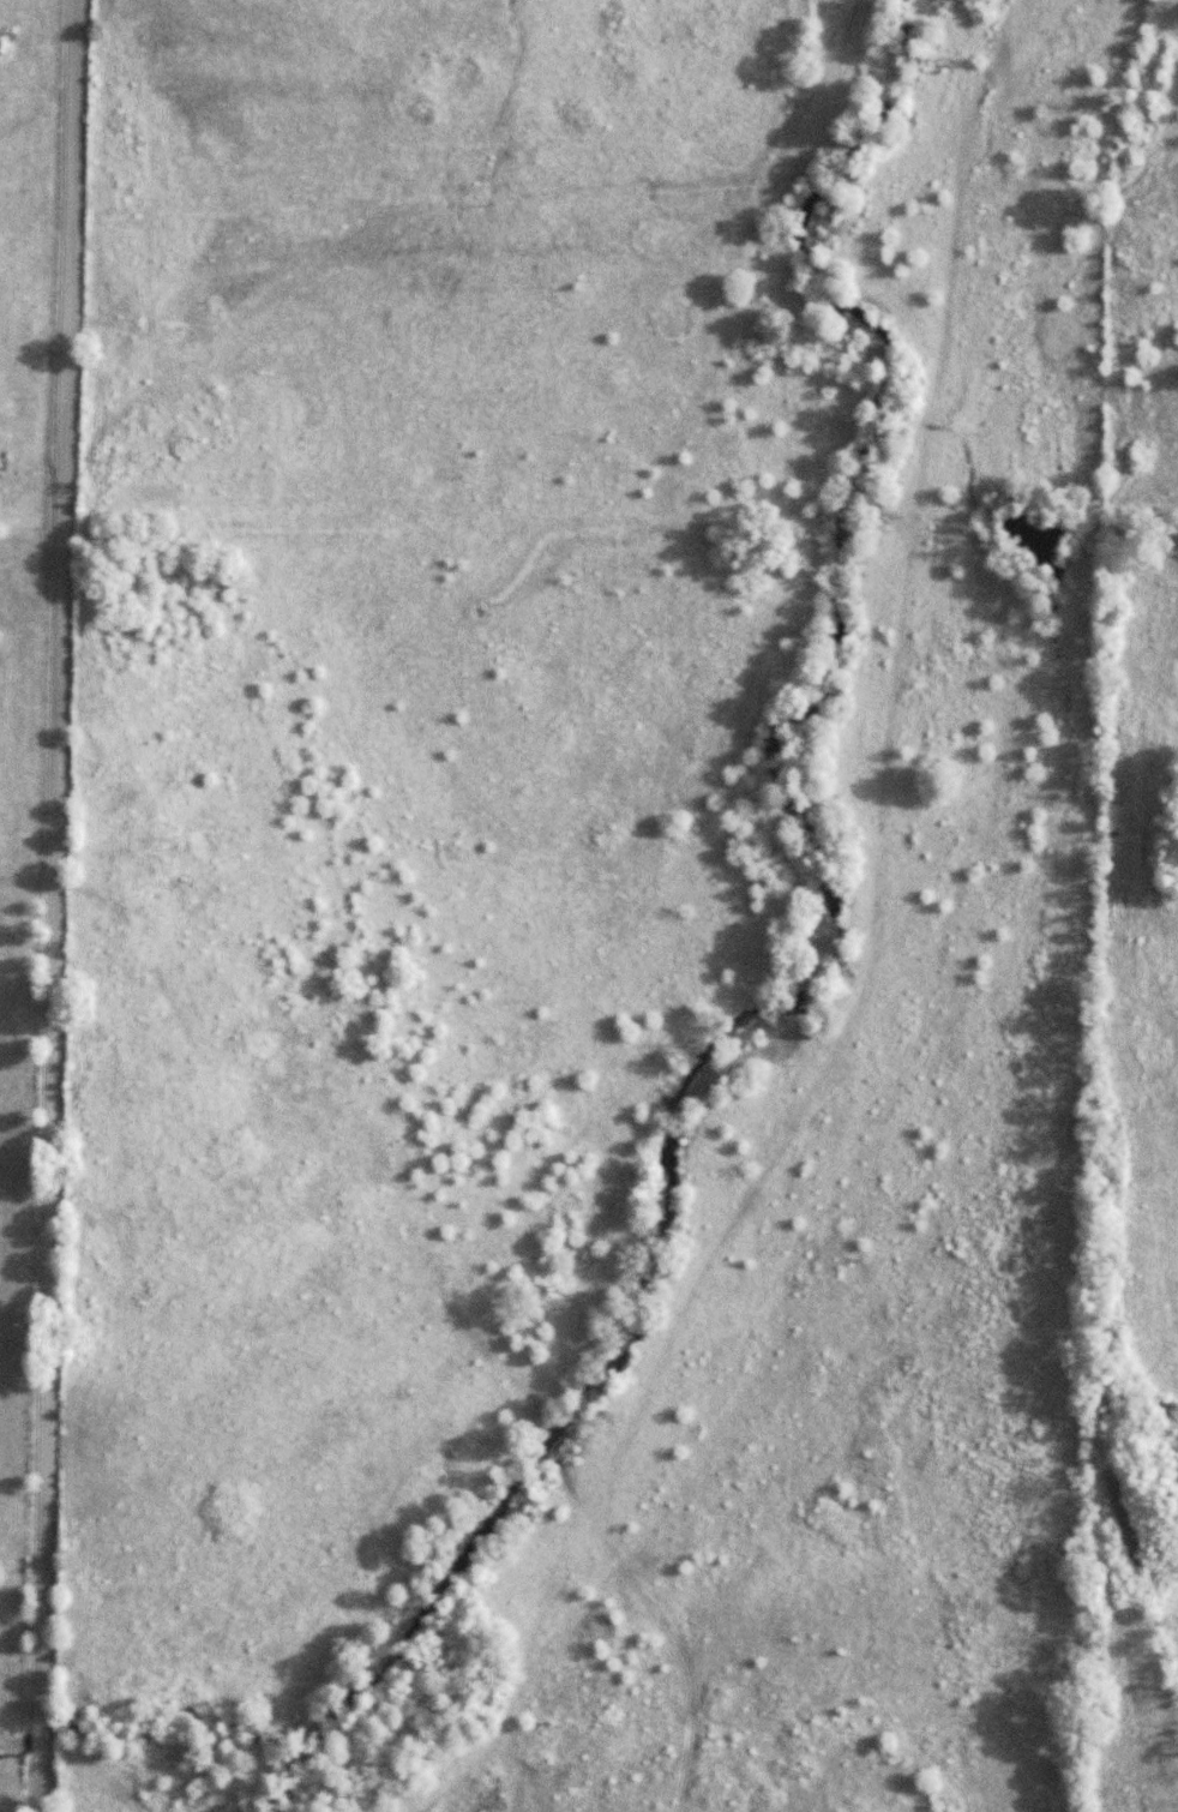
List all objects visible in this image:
road: (54, 905)

